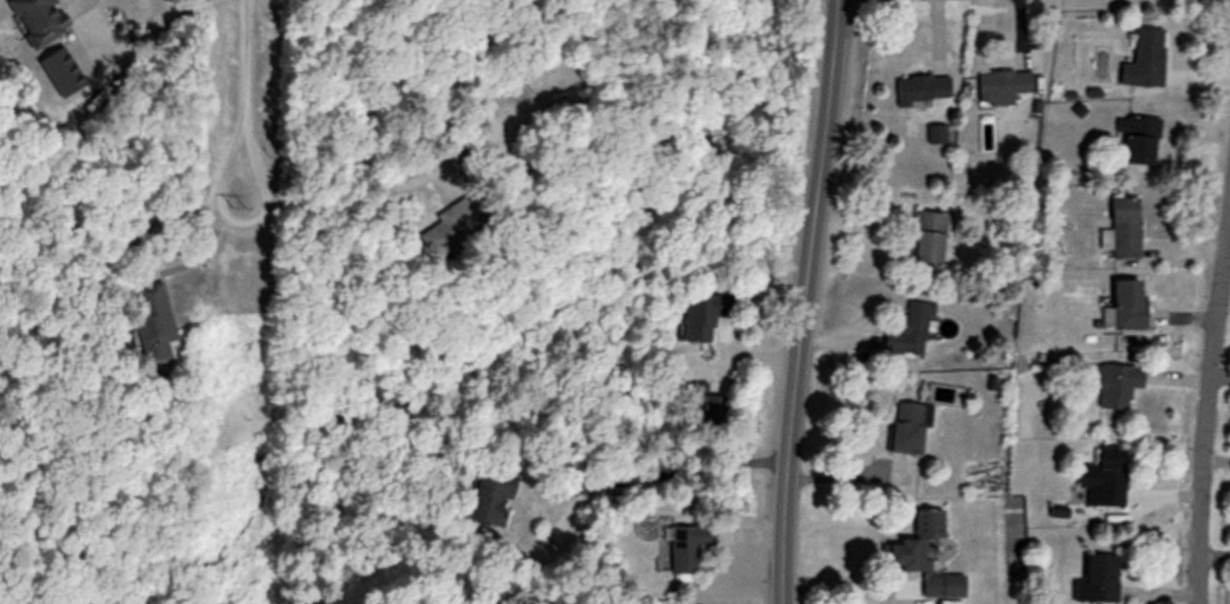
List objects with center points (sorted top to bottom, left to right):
building: (42, 21)
road: (160, 23)
building: (1151, 59)
building: (68, 73)
building: (1008, 86)
building: (927, 90)
road: (239, 108)
building: (940, 136)
building: (1145, 139)
power tower: (230, 184)
building: (466, 223)
building: (1131, 229)
building: (934, 237)
road: (793, 301)
building: (1132, 306)
building: (712, 313)
building: (159, 320)
building: (916, 330)
building: (1120, 384)
road: (1205, 399)
building: (915, 428)
road: (655, 468)
building: (1109, 477)
building: (502, 496)
building: (695, 545)
building: (930, 562)
building: (1104, 581)

